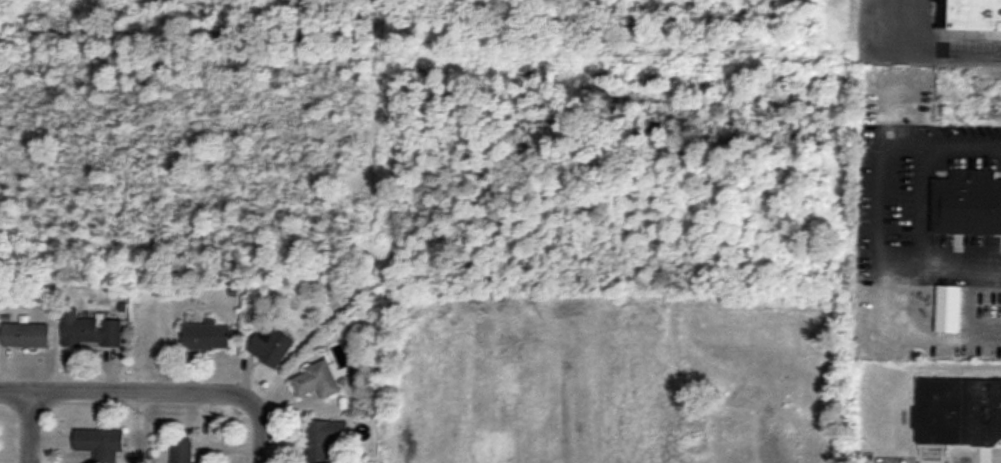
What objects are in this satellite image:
building: (972, 16)
road: (914, 42)
building: (967, 203)
building: (949, 308)
building: (91, 331)
building: (26, 335)
building: (207, 336)
building: (271, 345)
building: (316, 381)
road: (123, 388)
building: (959, 411)
road: (26, 424)
road: (260, 427)
building: (325, 439)
building: (101, 444)
building: (182, 450)

